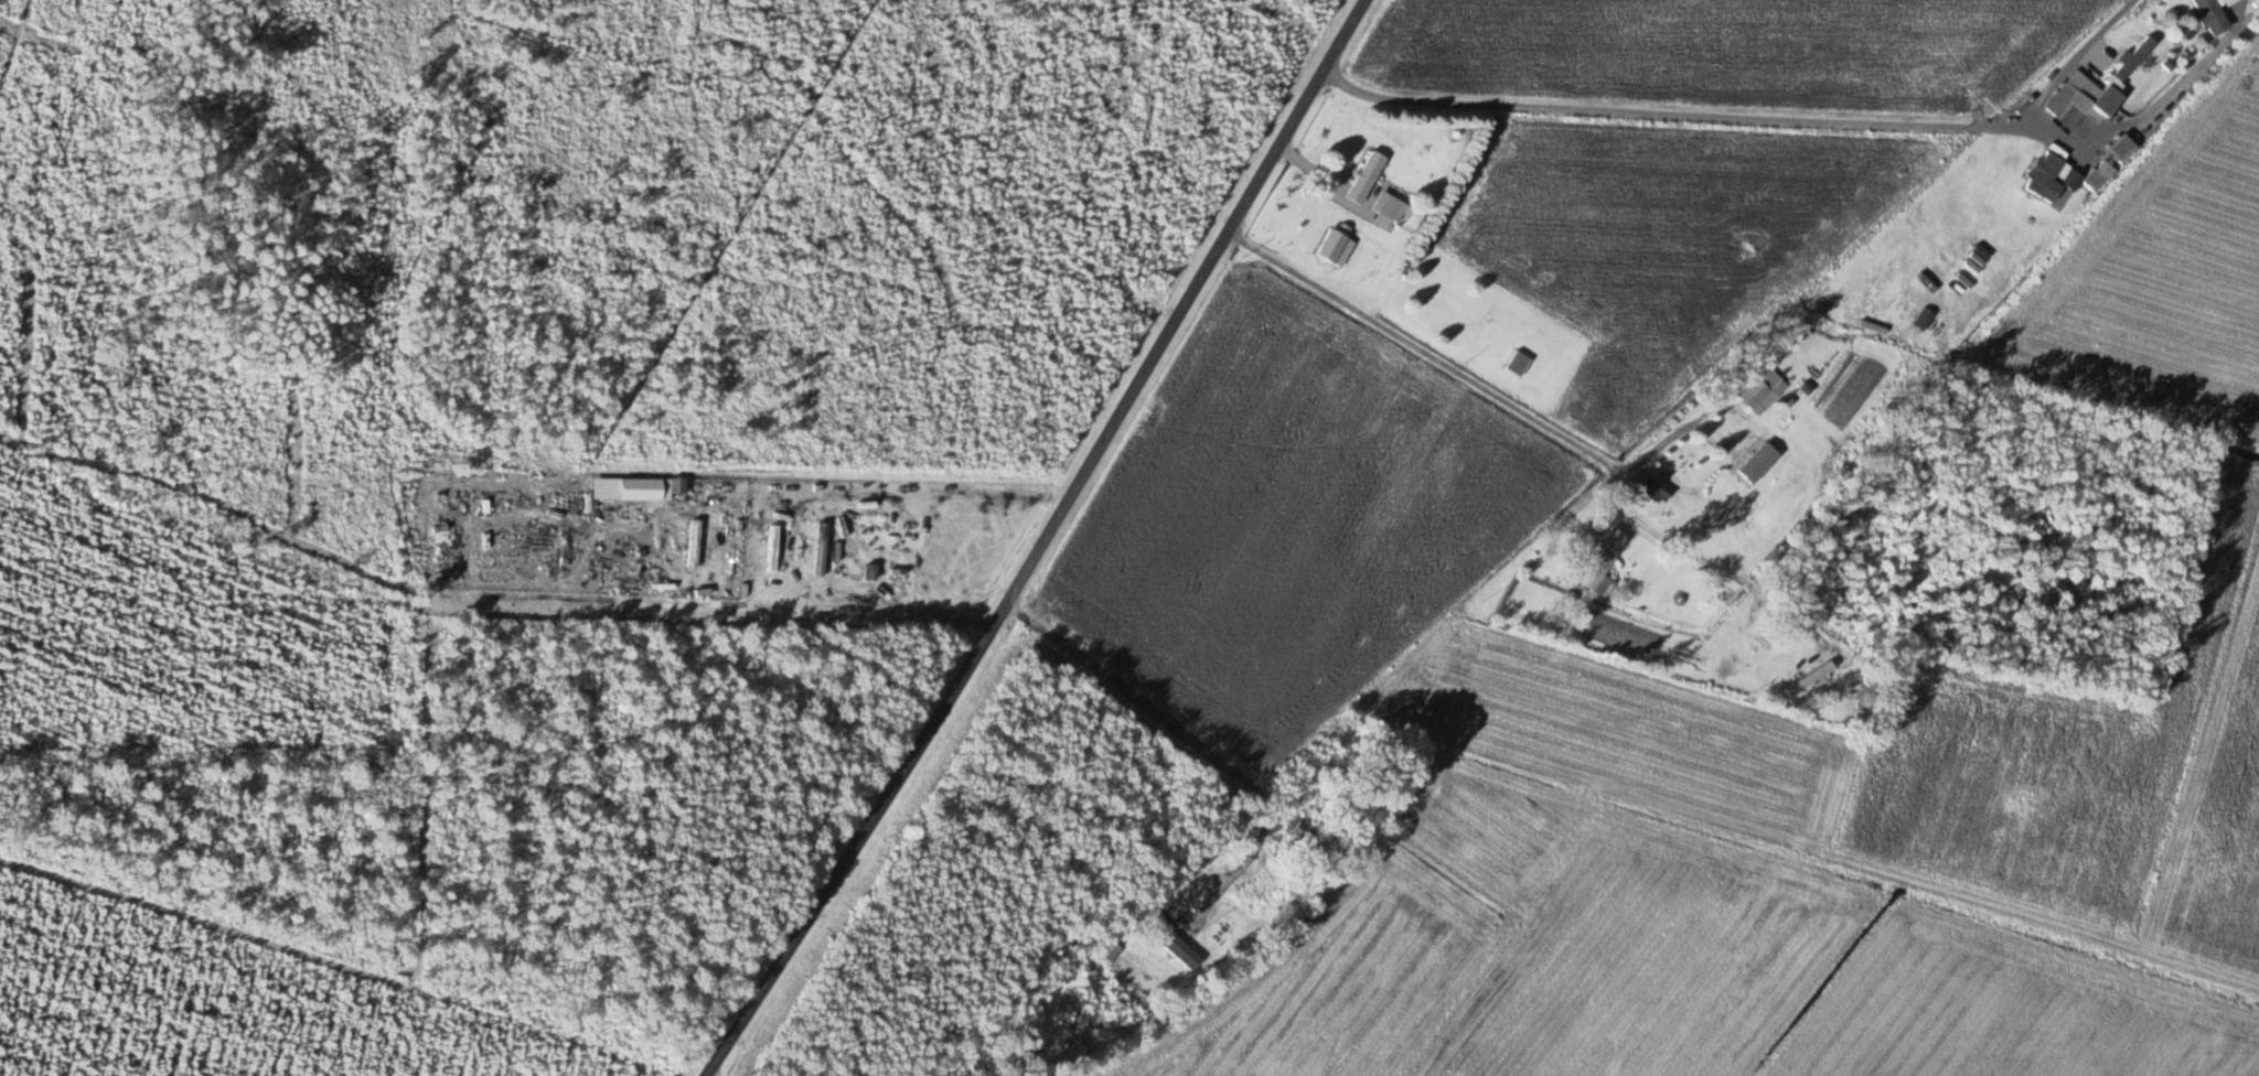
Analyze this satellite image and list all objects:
building: (2213, 14)
building: (2133, 57)
road: (2064, 60)
road: (2171, 86)
building: (2068, 104)
road: (1689, 110)
building: (2122, 147)
building: (1369, 170)
building: (2043, 173)
building: (1393, 208)
building: (1336, 245)
building: (1481, 322)
road: (1421, 343)
building: (1518, 363)
building: (1754, 392)
building: (1652, 491)
building: (694, 541)
road: (1050, 542)
building: (1600, 559)
road: (1135, 695)
building: (1307, 831)
road: (1212, 903)
building: (1176, 945)
building: (1111, 947)

